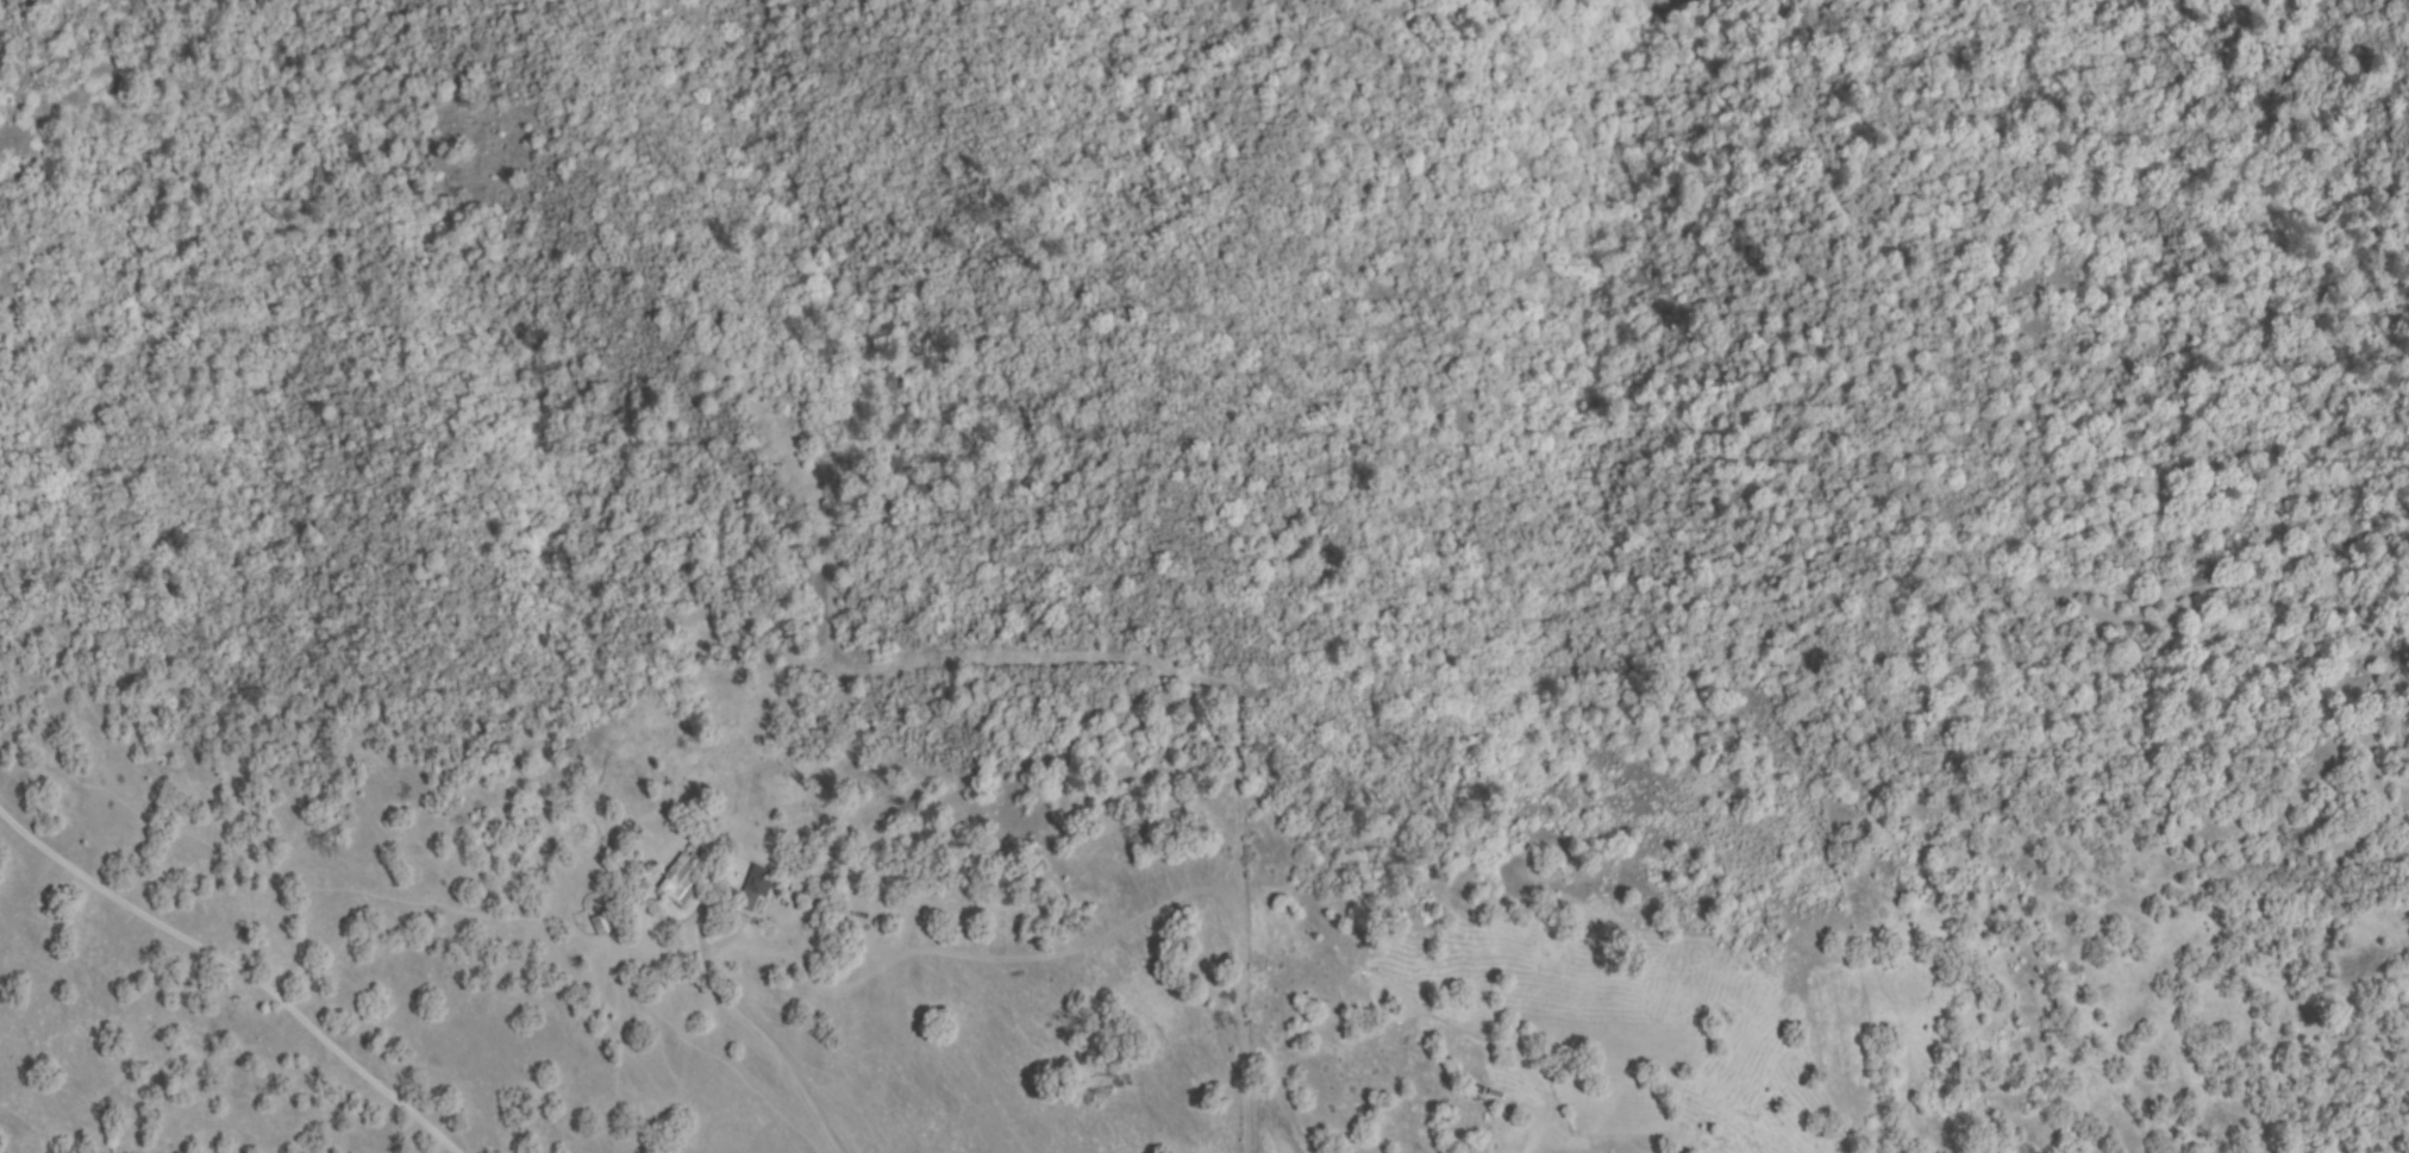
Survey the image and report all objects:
building: (684, 879)
building: (753, 894)
building: (811, 894)
building: (620, 897)
building: (596, 923)
road: (799, 1085)

